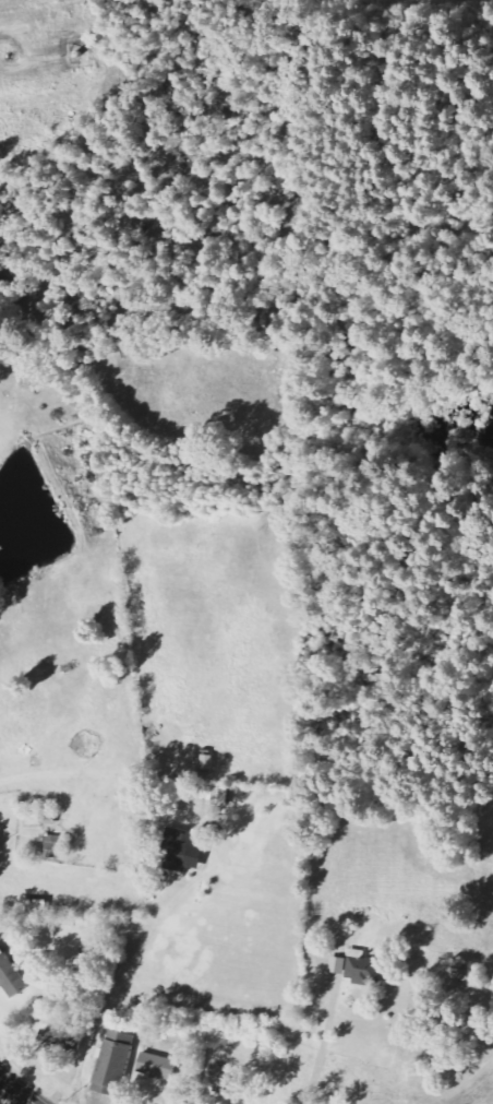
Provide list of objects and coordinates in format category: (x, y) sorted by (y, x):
building: (208, 761)
building: (219, 795)
building: (48, 817)
building: (58, 846)
building: (182, 848)
building: (338, 964)
building: (363, 968)
building: (461, 969)
building: (11, 975)
building: (113, 1061)
building: (156, 1066)
building: (221, 1077)
road: (17, 1090)

